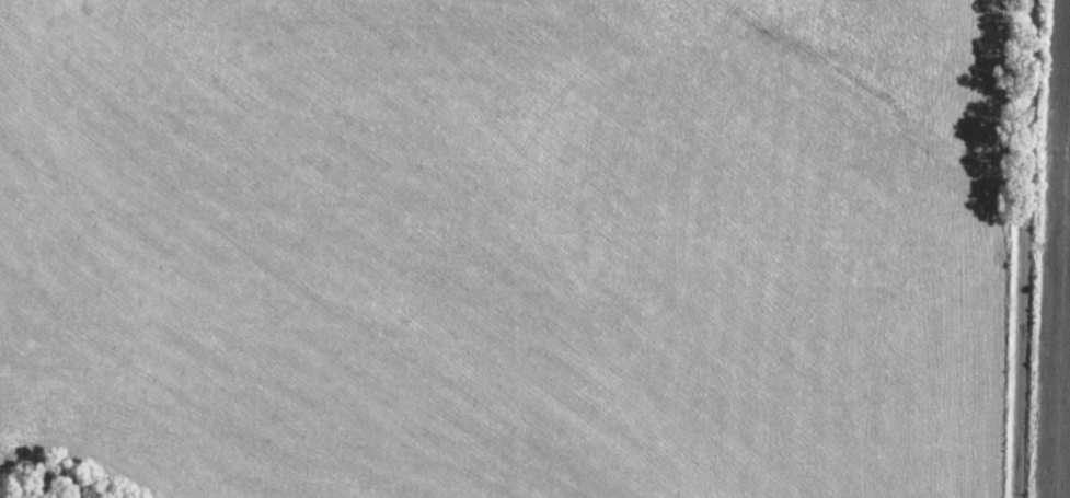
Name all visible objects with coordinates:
road: (1023, 248)

